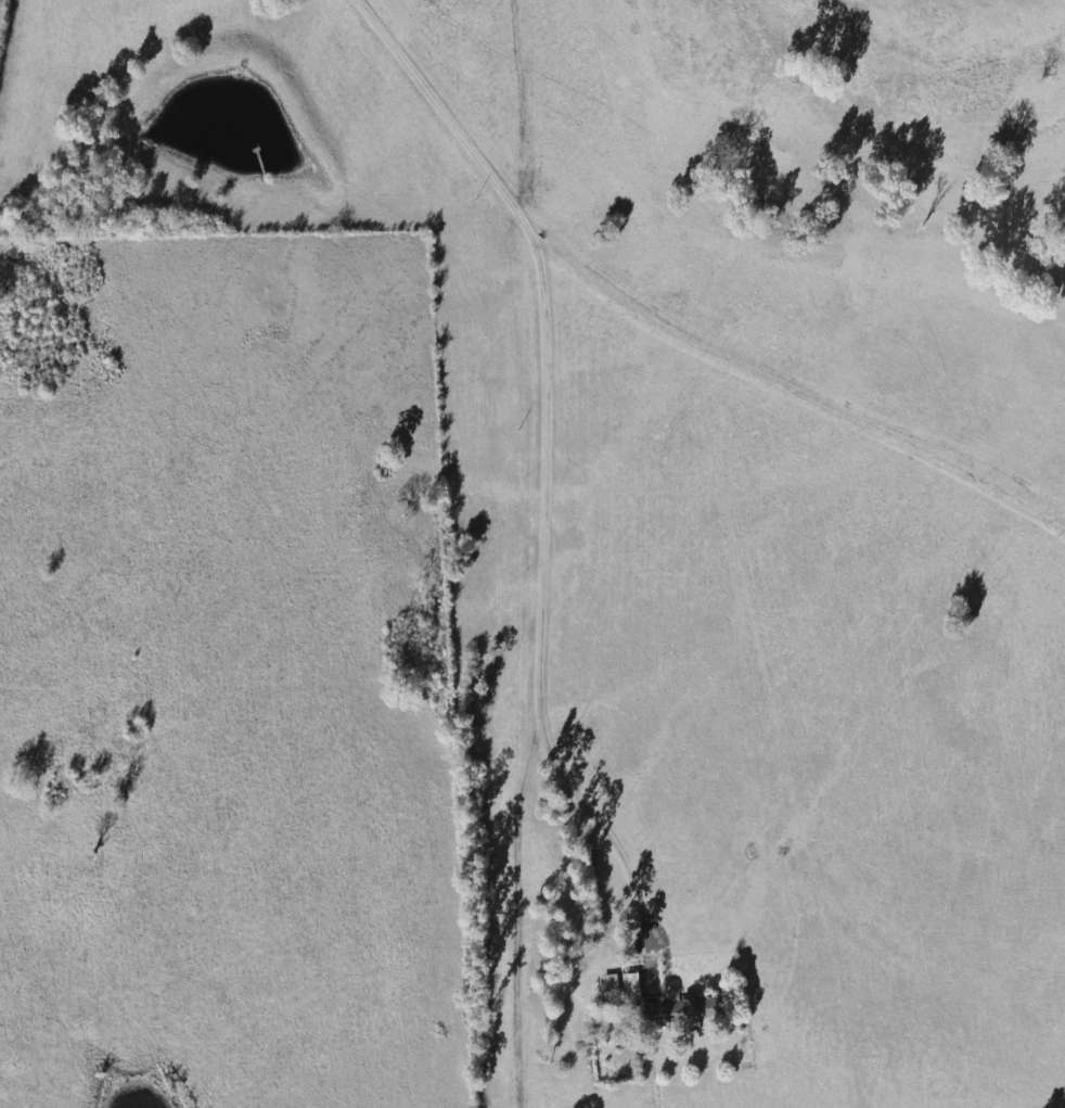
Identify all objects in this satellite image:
road: (543, 459)
building: (626, 986)
building: (675, 1011)

